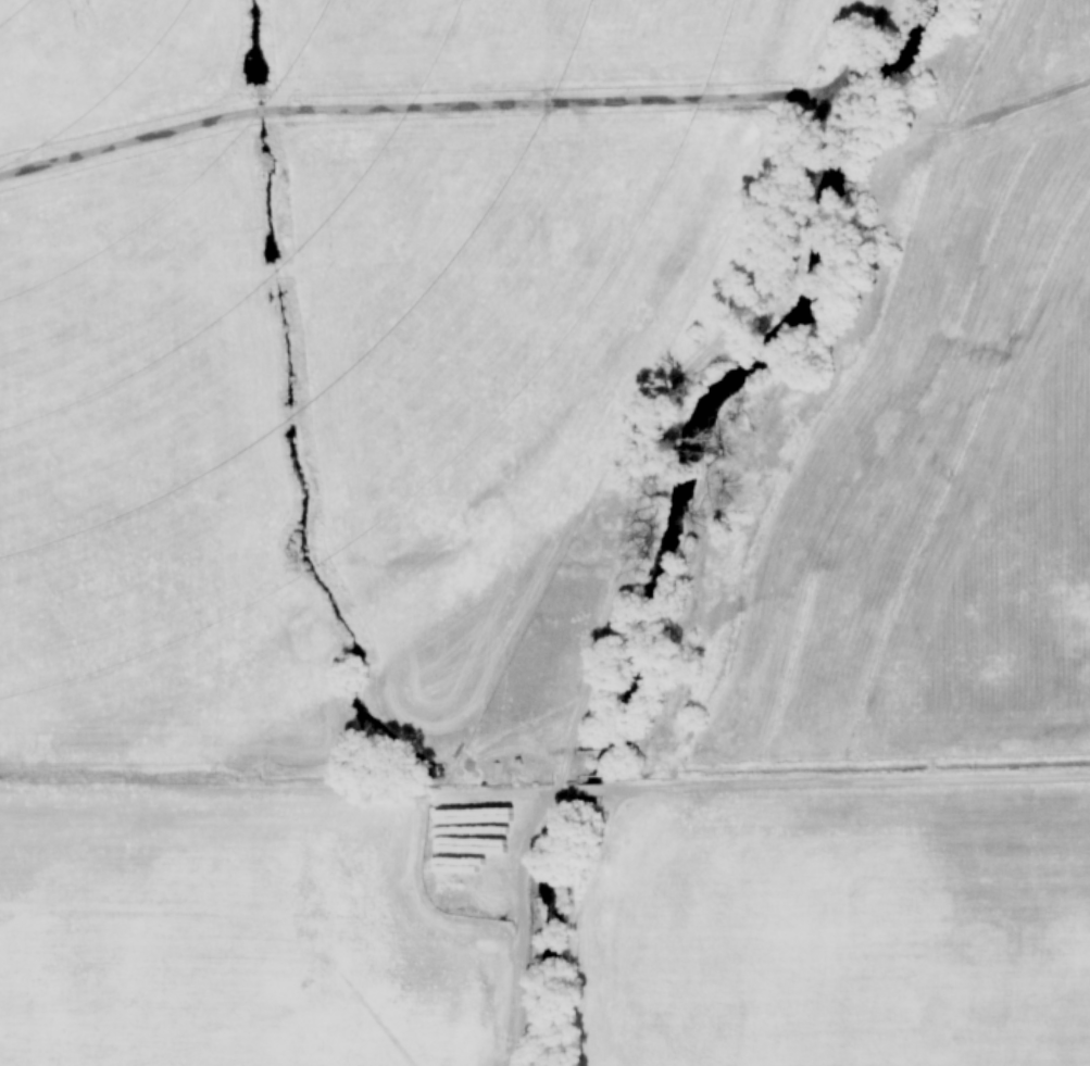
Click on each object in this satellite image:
road: (467, 105)
road: (1014, 109)
river: (673, 512)
building: (460, 879)

